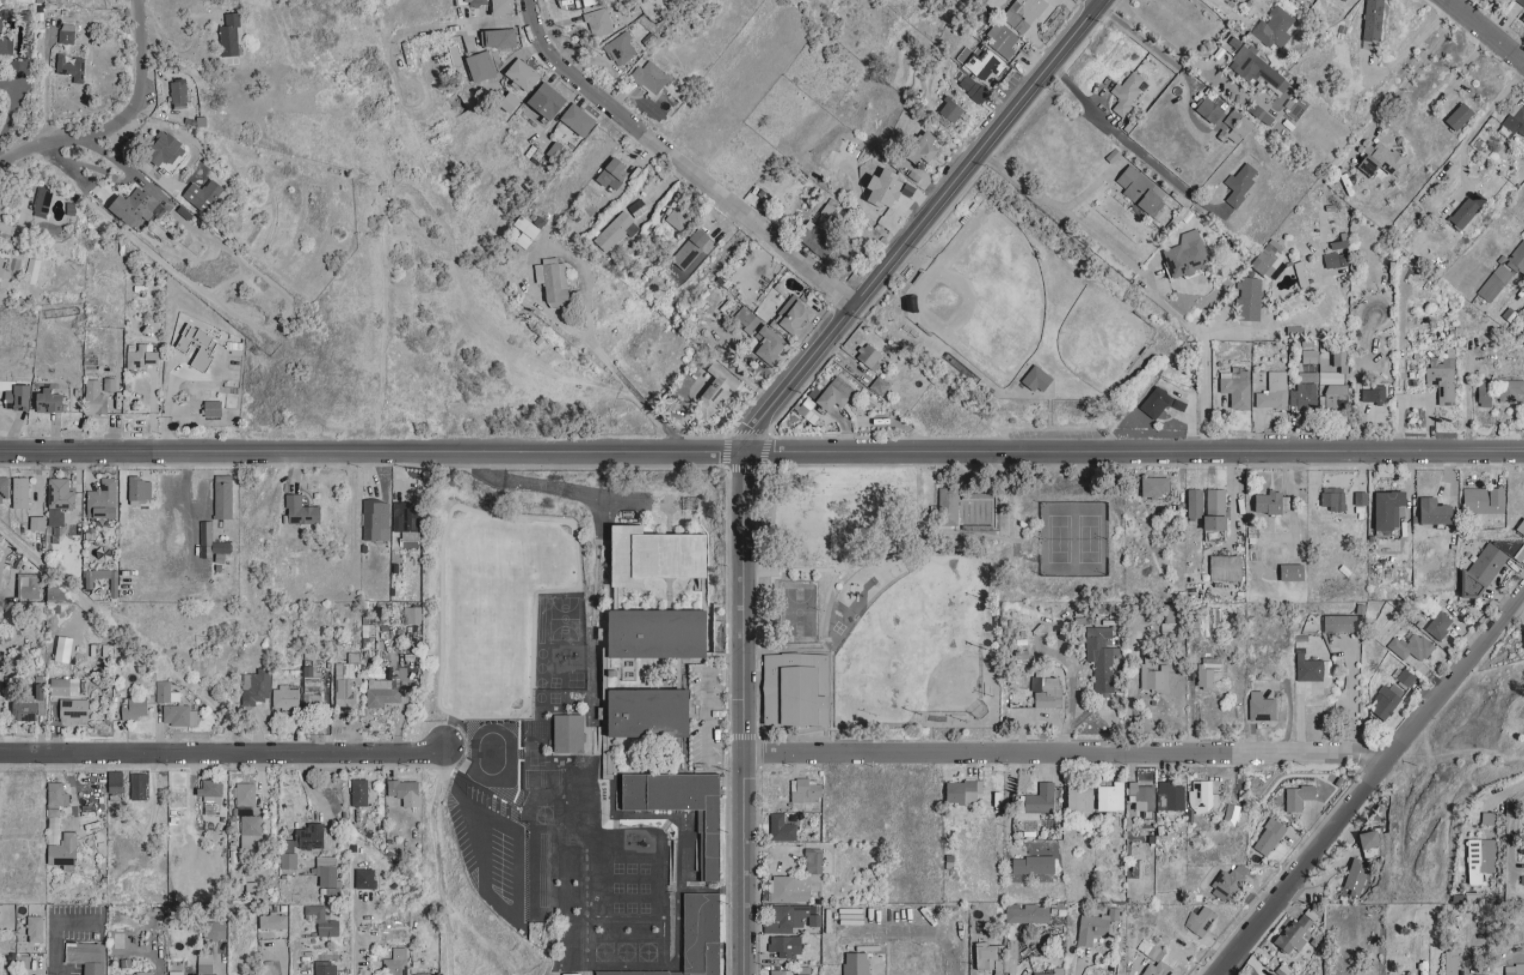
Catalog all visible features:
building: (1346, 0)
building: (470, 2)
building: (592, 2)
road: (1102, 2)
building: (1520, 2)
building: (501, 7)
road: (1222, 7)
road: (134, 8)
building: (1024, 13)
building: (1523, 19)
building: (1373, 20)
building: (598, 22)
building: (1274, 27)
road: (1487, 30)
building: (72, 33)
building: (229, 35)
building: (497, 37)
building: (1002, 39)
building: (7, 41)
road: (1165, 43)
road: (1409, 45)
building: (621, 49)
road: (1155, 52)
building: (983, 64)
road: (1466, 64)
building: (480, 66)
building: (76, 67)
building: (1259, 71)
building: (523, 75)
building: (650, 77)
road: (1409, 79)
building: (972, 87)
building: (182, 91)
building: (1127, 91)
building: (547, 101)
building: (510, 102)
building: (1212, 108)
road: (16, 109)
building: (951, 111)
building: (1260, 114)
building: (1460, 116)
building: (578, 120)
road: (1480, 121)
building: (1512, 123)
road: (122, 126)
building: (1237, 126)
road: (1130, 145)
building: (923, 148)
building: (169, 149)
building: (555, 150)
building: (1382, 160)
road: (682, 163)
building: (613, 173)
building: (1241, 183)
building: (885, 189)
building: (1142, 190)
building: (204, 194)
road: (1047, 200)
building: (42, 201)
building: (136, 206)
building: (1469, 210)
building: (677, 219)
road: (930, 225)
building: (616, 231)
building: (819, 231)
building: (1340, 242)
building: (690, 249)
building: (1187, 255)
building: (1517, 258)
building: (1268, 259)
building: (1334, 260)
building: (3, 270)
building: (32, 270)
building: (1301, 275)
building: (553, 282)
building: (1495, 283)
park: (982, 296)
building: (1249, 299)
road: (549, 312)
building: (793, 315)
building: (744, 316)
building: (1521, 322)
building: (1295, 331)
road: (1235, 332)
park: (1104, 338)
building: (770, 344)
building: (198, 345)
road: (1206, 354)
building: (869, 356)
building: (1309, 356)
building: (143, 357)
building: (1339, 357)
building: (1308, 376)
building: (1443, 376)
building: (1331, 377)
building: (1037, 379)
building: (109, 384)
building: (6, 385)
building: (880, 386)
building: (1236, 386)
road: (1400, 386)
building: (682, 389)
building: (717, 390)
building: (1511, 390)
building: (1273, 392)
building: (1485, 393)
building: (835, 394)
building: (1374, 394)
building: (1334, 396)
building: (18, 397)
building: (1304, 397)
building: (94, 399)
building: (49, 401)
building: (1161, 403)
building: (213, 409)
building: (808, 411)
parking lot: (1059, 436)
road: (375, 452)
road: (1137, 452)
park: (963, 486)
building: (1155, 487)
building: (3, 489)
building: (139, 490)
building: (20, 492)
building: (222, 497)
building: (1334, 498)
building: (1361, 499)
building: (59, 500)
building: (102, 500)
building: (1484, 500)
building: (1273, 503)
building: (642, 504)
building: (1195, 504)
building: (947, 506)
building: (1388, 508)
building: (961, 510)
building: (1217, 510)
building: (301, 511)
building: (1436, 512)
building: (376, 520)
building: (407, 522)
building: (37, 523)
park: (1076, 538)
building: (205, 539)
building: (1388, 543)
building: (220, 547)
building: (654, 548)
building: (1494, 558)
building: (1225, 568)
building: (1290, 572)
building: (87, 584)
building: (1473, 585)
building: (28, 586)
building: (654, 591)
park: (801, 611)
building: (412, 615)
building: (1169, 620)
building: (1341, 623)
building: (1439, 625)
building: (654, 639)
building: (1411, 647)
building: (1101, 659)
park: (935, 665)
building: (1308, 669)
building: (1208, 672)
building: (1153, 677)
building: (1406, 678)
building: (344, 685)
building: (64, 686)
building: (255, 686)
building: (312, 686)
building: (798, 690)
building: (162, 691)
building: (381, 693)
building: (1046, 693)
building: (174, 696)
building: (285, 698)
building: (1387, 700)
building: (1262, 707)
building: (134, 709)
building: (25, 711)
building: (74, 711)
road: (748, 713)
building: (179, 715)
road: (706, 716)
building: (647, 717)
building: (569, 734)
road: (1070, 750)
road: (226, 751)
building: (584, 770)
road: (447, 775)
building: (115, 781)
road: (1369, 781)
building: (139, 785)
building: (211, 787)
building: (806, 789)
road: (1510, 789)
building: (405, 791)
building: (963, 791)
building: (359, 792)
building: (57, 794)
building: (244, 794)
building: (1171, 795)
building: (1112, 796)
building: (1298, 796)
building: (1080, 797)
building: (1042, 798)
road: (314, 799)
road: (1009, 801)
building: (678, 809)
building: (1230, 814)
building: (1488, 817)
building: (782, 827)
building: (250, 831)
building: (1269, 836)
building: (306, 838)
building: (1370, 839)
building: (60, 842)
building: (1480, 859)
building: (288, 860)
building: (814, 862)
building: (1034, 864)
building: (327, 870)
building: (532, 877)
building: (1356, 877)
building: (365, 878)
building: (1230, 879)
building: (788, 889)
road: (515, 912)
building: (568, 912)
building: (1027, 913)
road: (353, 915)
building: (790, 917)
building: (272, 921)
building: (323, 921)
building: (1200, 921)
road: (55, 926)
building: (1095, 926)
building: (36, 928)
building: (215, 929)
building: (1297, 930)
building: (630, 935)
building: (700, 935)
building: (786, 945)
building: (86, 956)
building: (990, 956)
road: (281, 961)
road: (1013, 961)
building: (1451, 961)
building: (395, 962)
building: (910, 962)
building: (205, 963)
building: (856, 963)
building: (879, 963)
road: (1078, 966)
road: (35, 968)
building: (325, 968)
building: (1158, 969)
building: (1515, 969)
building: (1054, 971)
building: (178, 972)
building: (780, 972)
building: (144, 973)
building: (419, 974)
road: (1134, 974)
building: (1272, 974)
building: (1482, 974)

